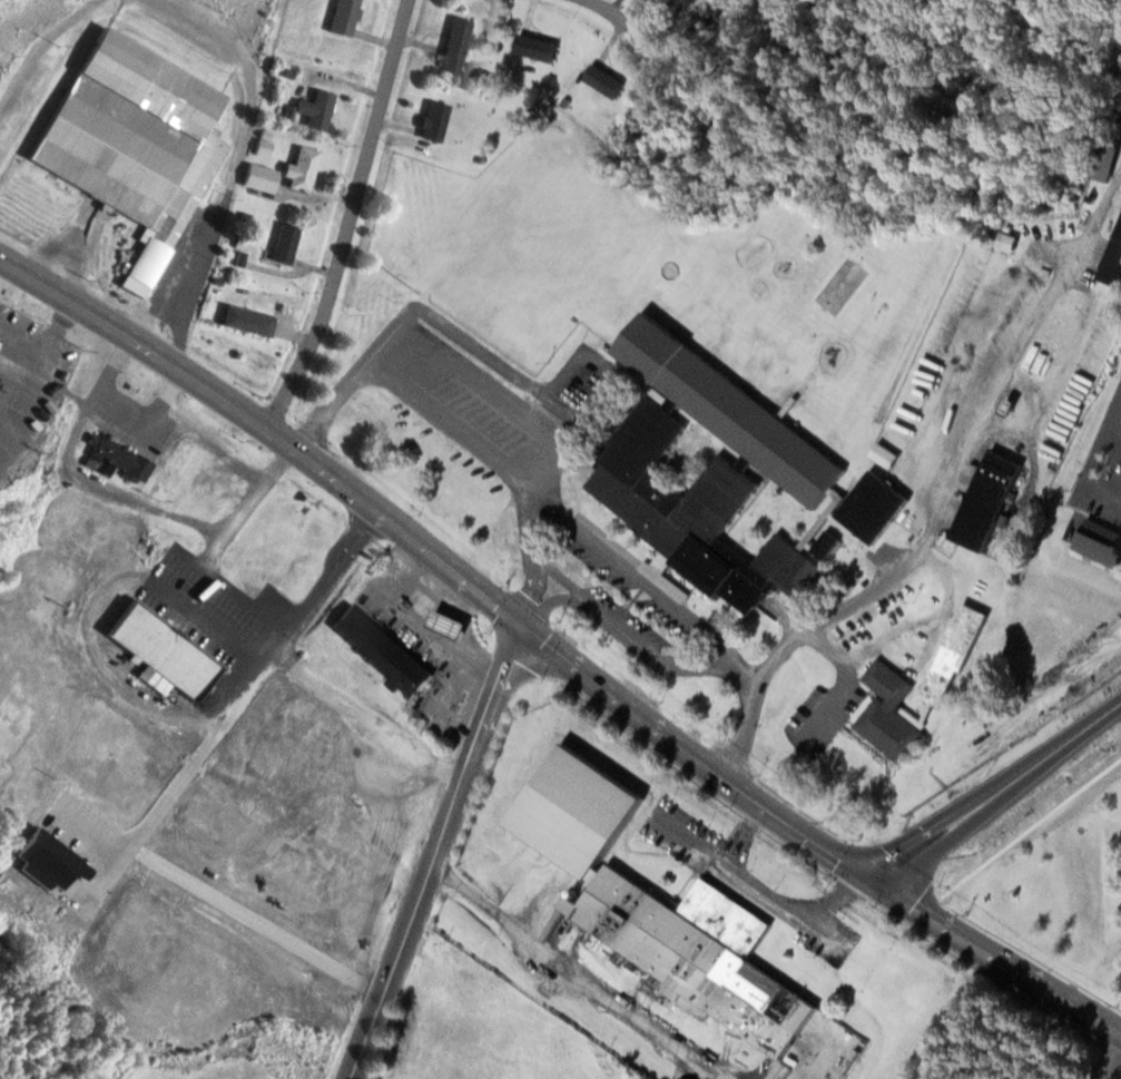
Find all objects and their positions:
park: (1, 0)
building: (347, 17)
road: (613, 18)
building: (460, 45)
building: (539, 47)
building: (608, 81)
building: (321, 109)
building: (439, 120)
building: (122, 122)
building: (305, 169)
building: (258, 176)
road: (348, 217)
building: (1012, 243)
building: (288, 244)
building: (1112, 257)
park: (839, 284)
building: (600, 305)
building: (252, 321)
road: (354, 374)
building: (1, 377)
building: (829, 404)
road: (577, 418)
road: (547, 428)
building: (125, 459)
building: (721, 473)
building: (220, 492)
building: (985, 499)
road: (566, 517)
building: (1101, 541)
road: (442, 560)
road: (552, 575)
road: (214, 576)
road: (554, 588)
road: (262, 598)
road: (531, 611)
road: (207, 621)
building: (444, 622)
traffic signals: (525, 627)
road: (797, 636)
building: (380, 648)
building: (158, 649)
building: (952, 650)
road: (648, 651)
road: (839, 685)
road: (250, 686)
building: (886, 709)
road: (999, 788)
road: (936, 789)
road: (88, 835)
road: (439, 853)
building: (46, 859)
traffic signals: (876, 879)
road: (747, 880)
road: (104, 885)
road: (838, 896)
building: (653, 904)
road: (999, 953)
road: (1107, 1055)

